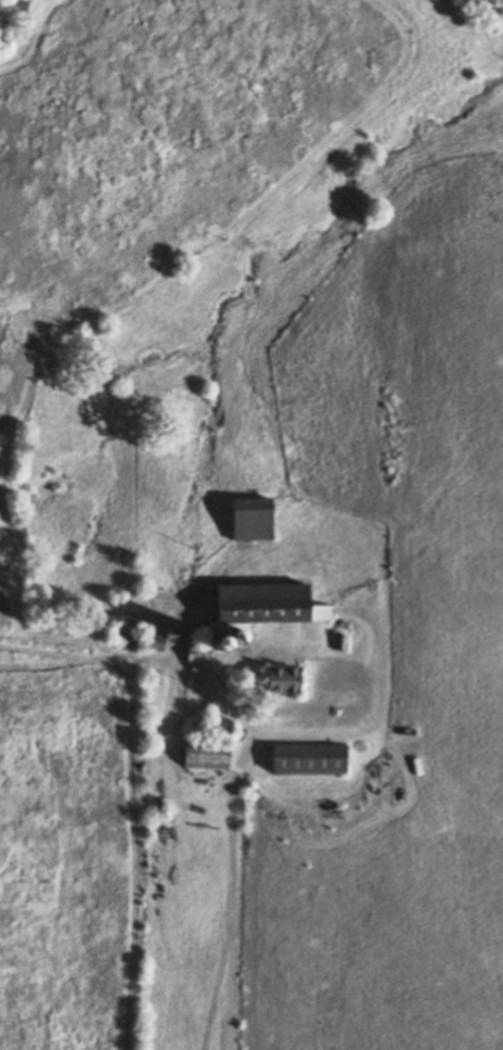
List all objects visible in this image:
building: (248, 521)
building: (253, 613)
building: (278, 680)
road: (125, 714)
road: (243, 755)
building: (219, 758)
building: (306, 759)

